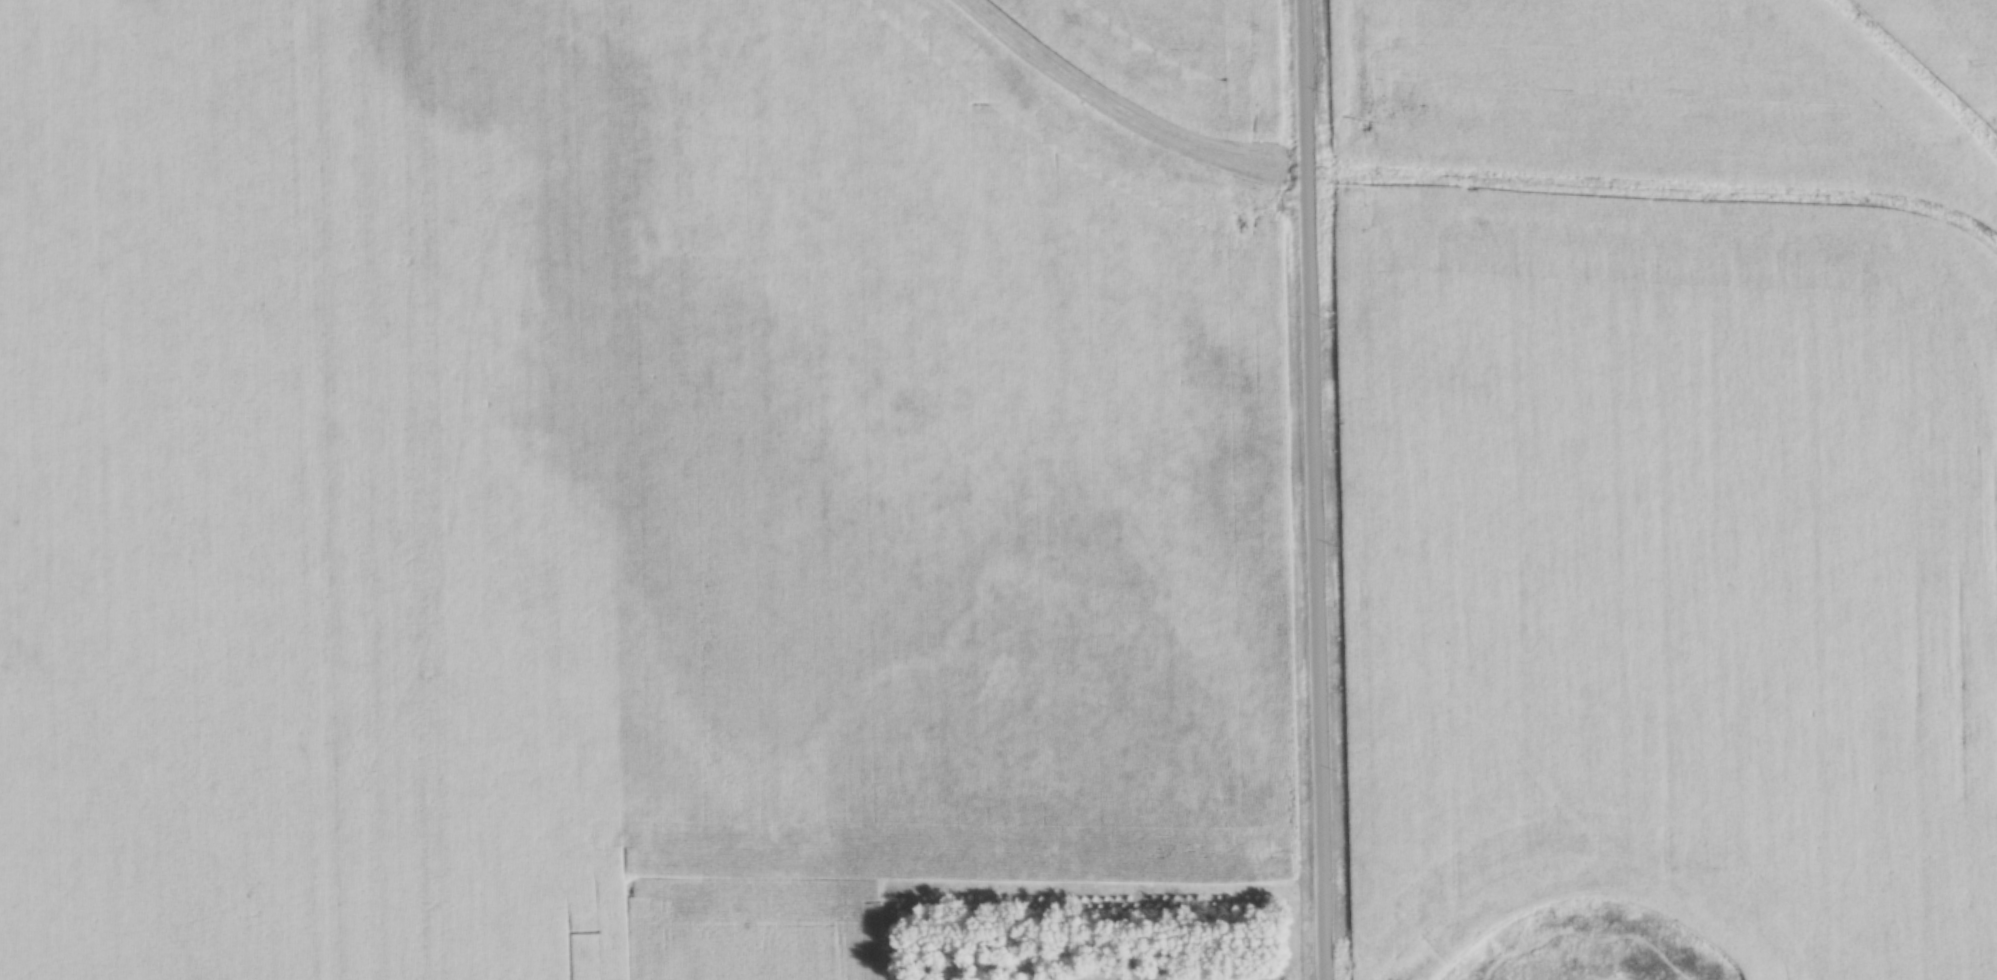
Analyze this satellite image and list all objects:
road: (1313, 490)
crop: (1672, 580)

